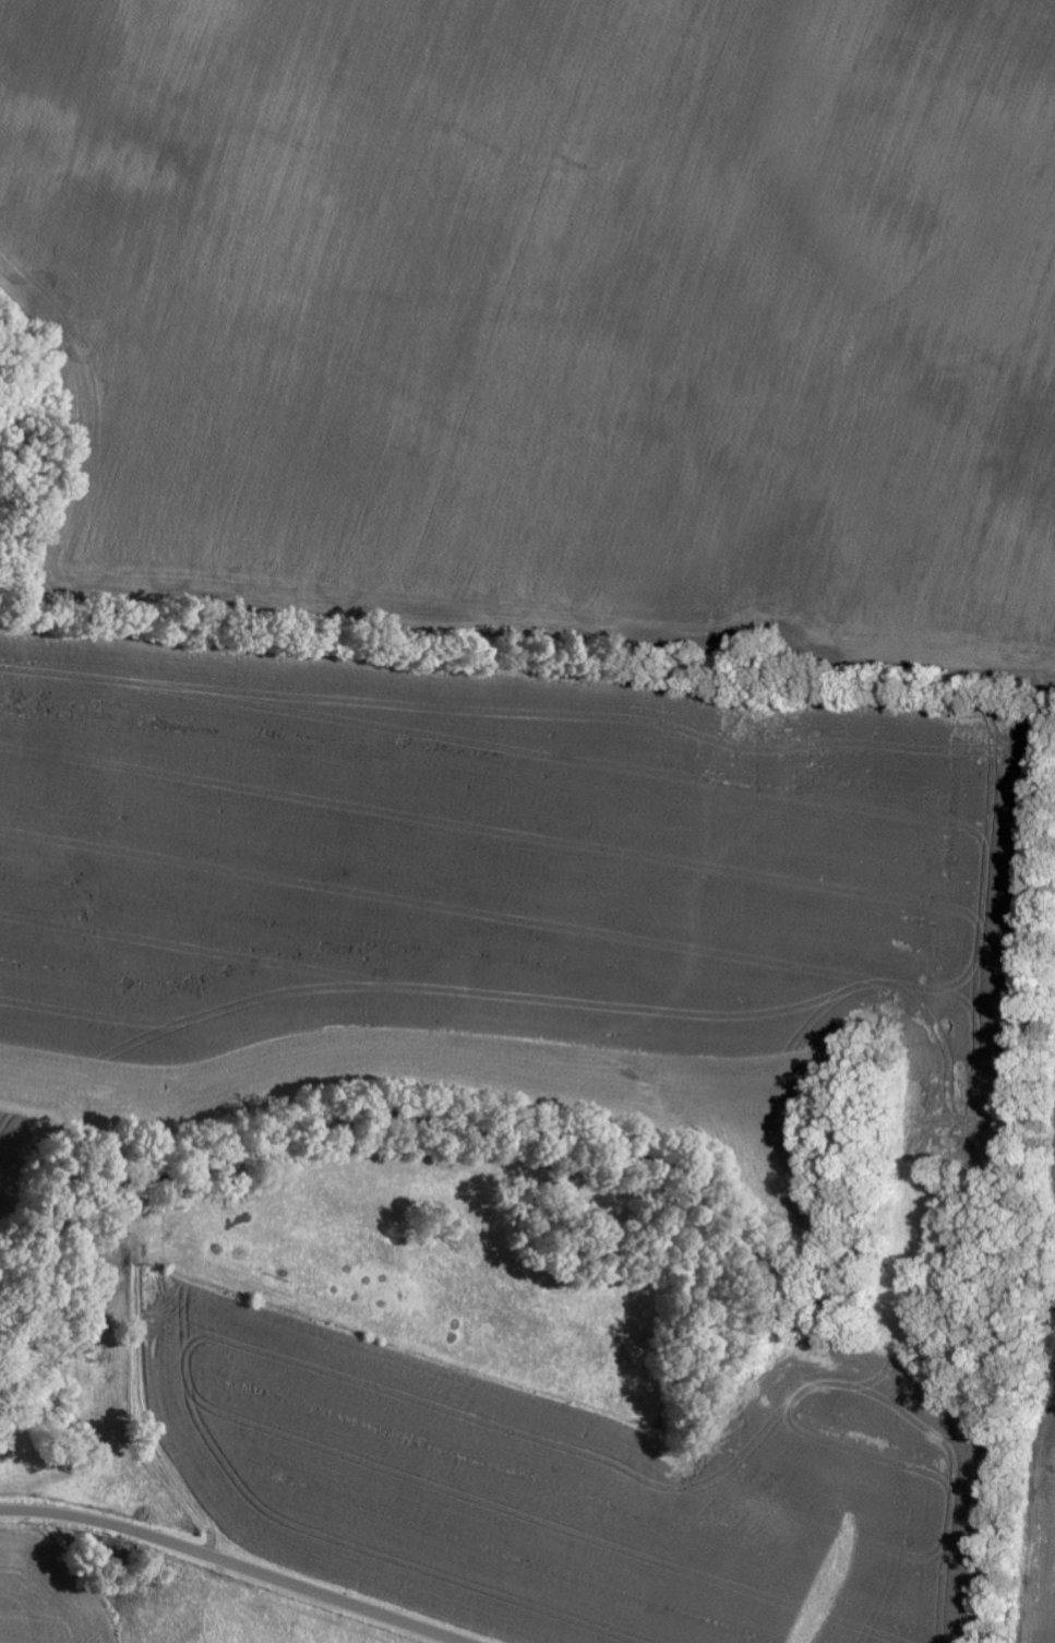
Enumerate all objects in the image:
road: (231, 1565)

